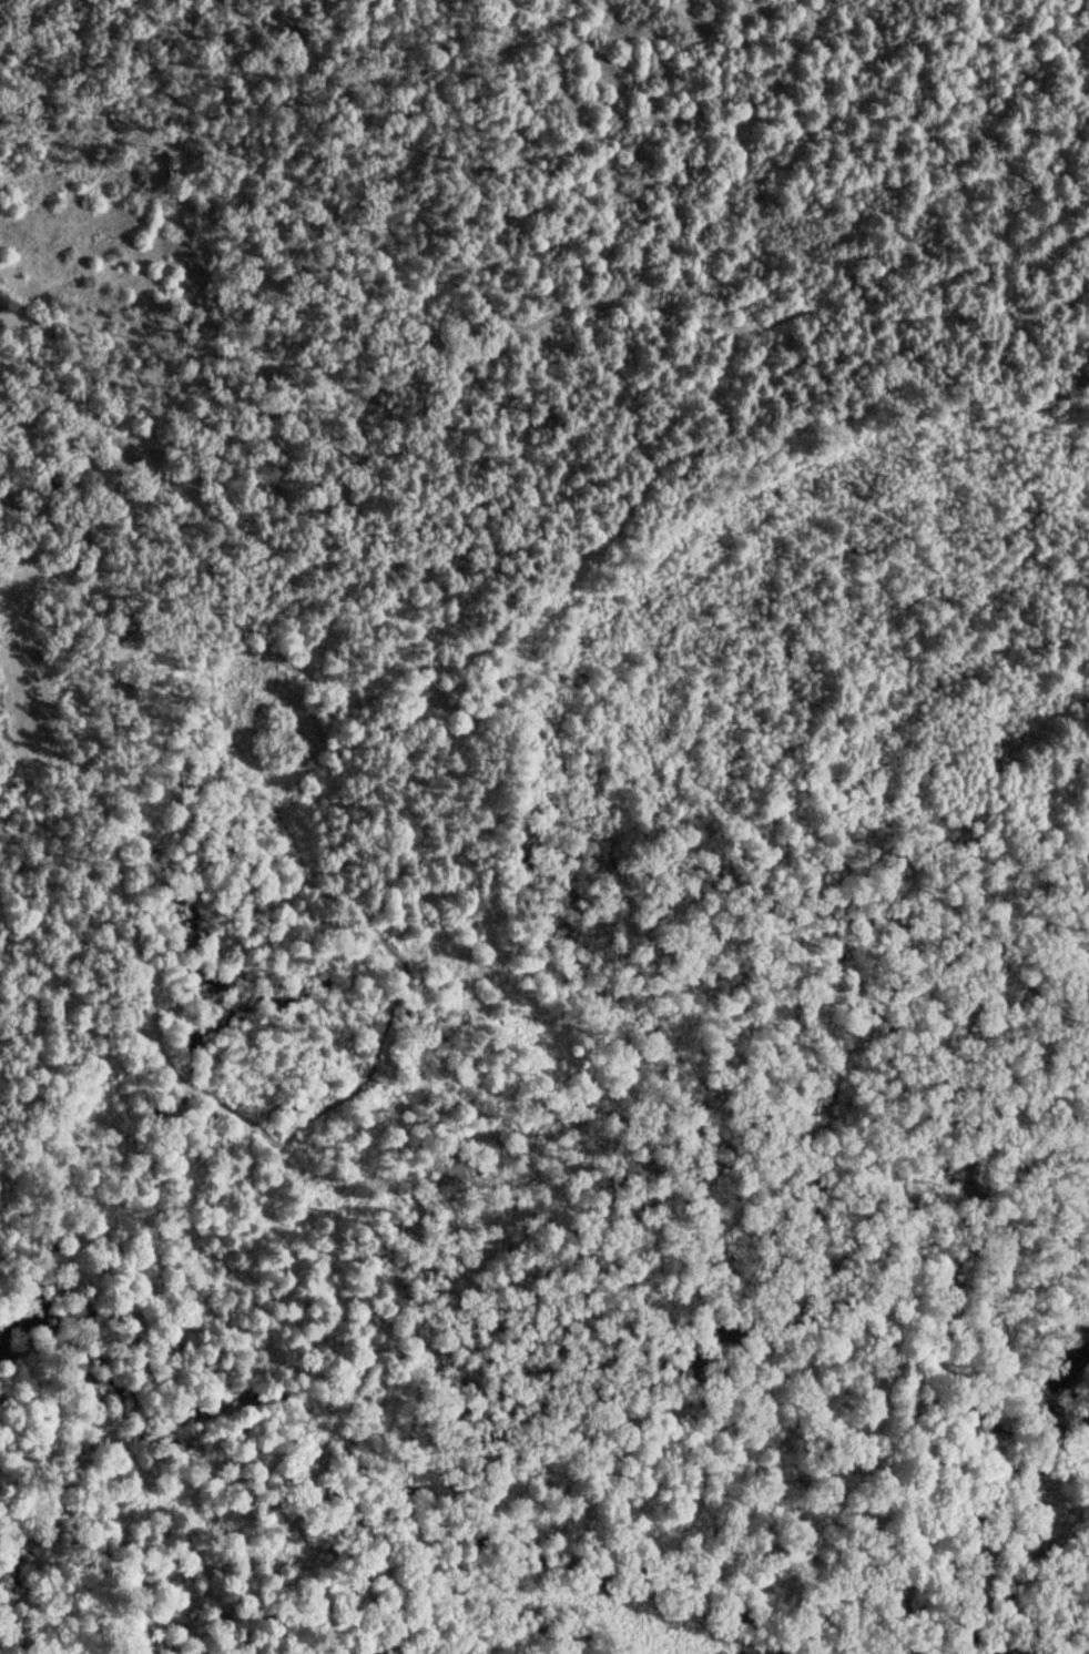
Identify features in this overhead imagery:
road: (781, 317)
building: (60, 478)
building: (121, 631)

